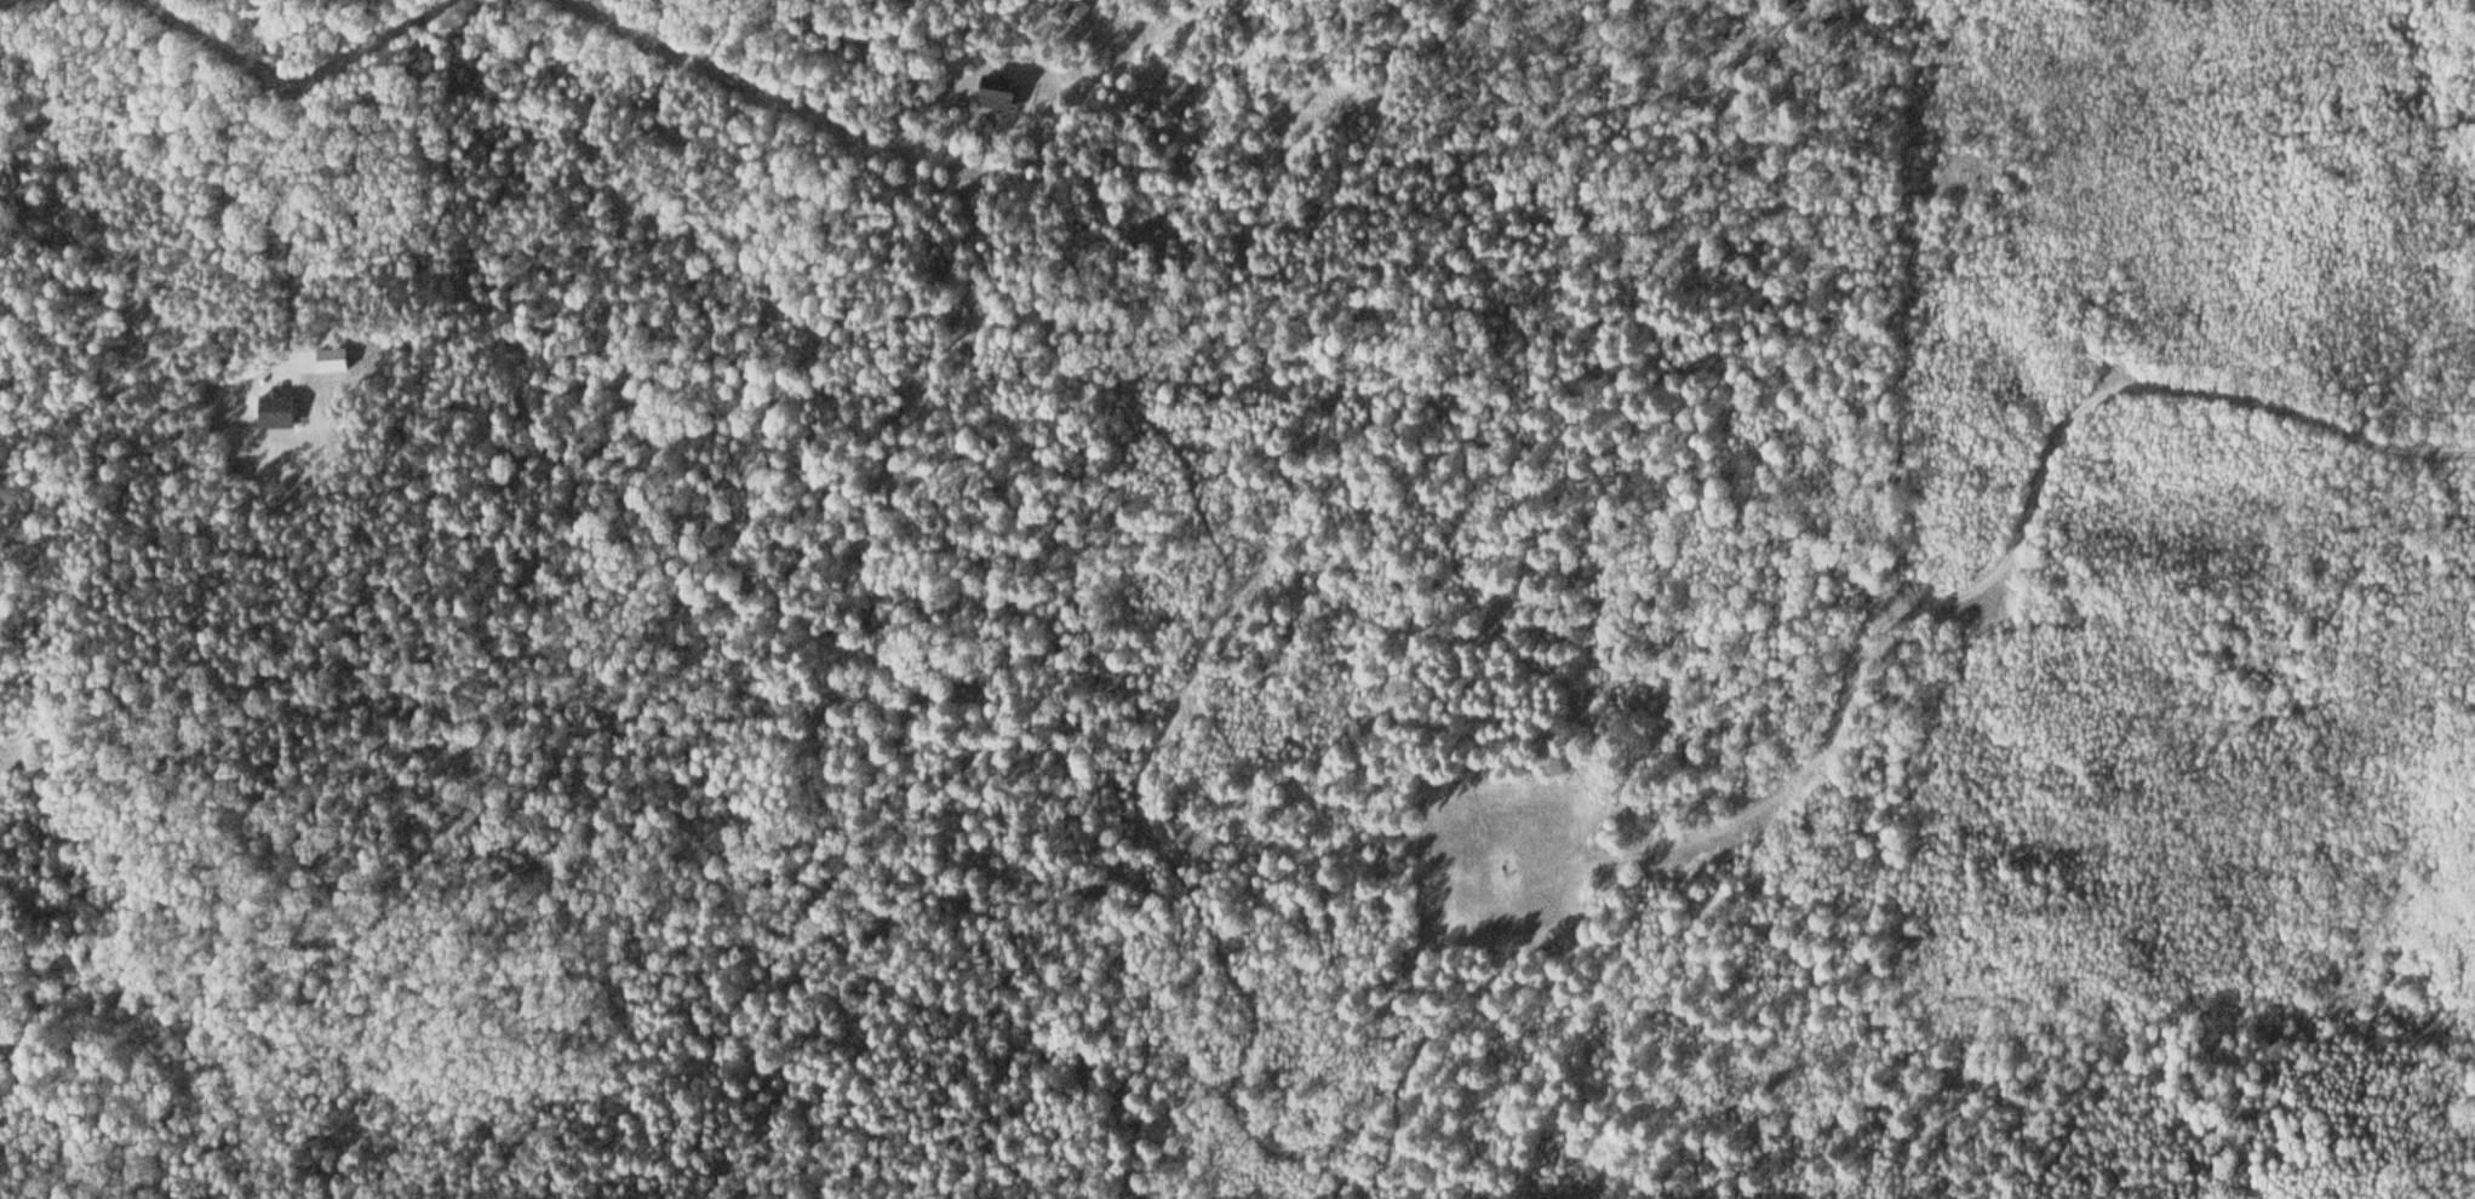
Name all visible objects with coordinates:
building: (1081, 12)
road: (740, 73)
road: (303, 84)
building: (1006, 92)
building: (338, 360)
building: (282, 411)
road: (2012, 553)
road: (1144, 803)

